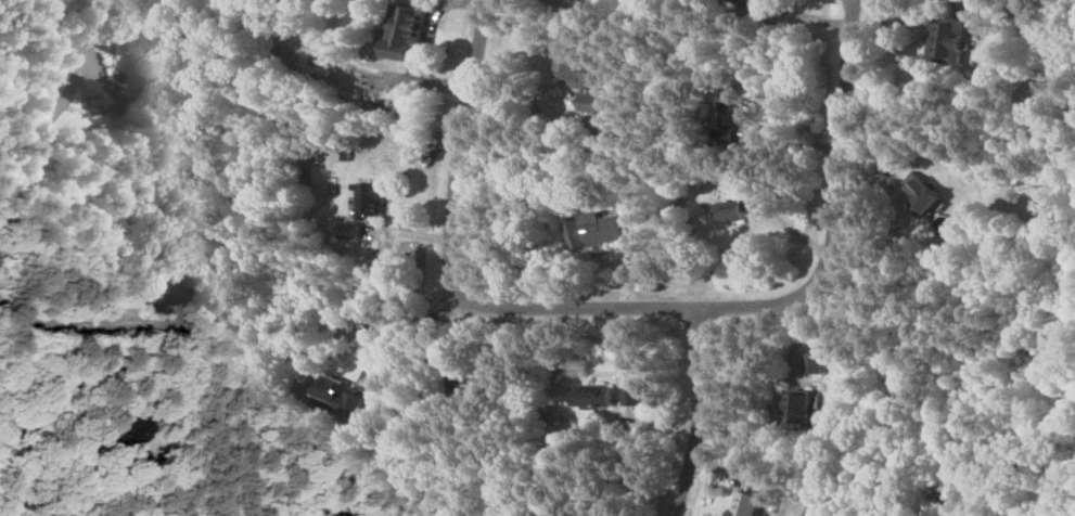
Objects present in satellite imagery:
road: (958, 2)
building: (405, 31)
road: (430, 42)
building: (945, 44)
building: (580, 80)
building: (91, 91)
building: (741, 112)
road: (789, 143)
road: (453, 152)
road: (28, 165)
building: (929, 197)
building: (373, 199)
building: (737, 210)
building: (598, 230)
road: (773, 300)
road: (373, 326)
road: (75, 327)
building: (817, 362)
road: (72, 387)
building: (335, 395)
building: (634, 396)
building: (593, 397)
building: (799, 408)
road: (695, 414)
building: (745, 504)

